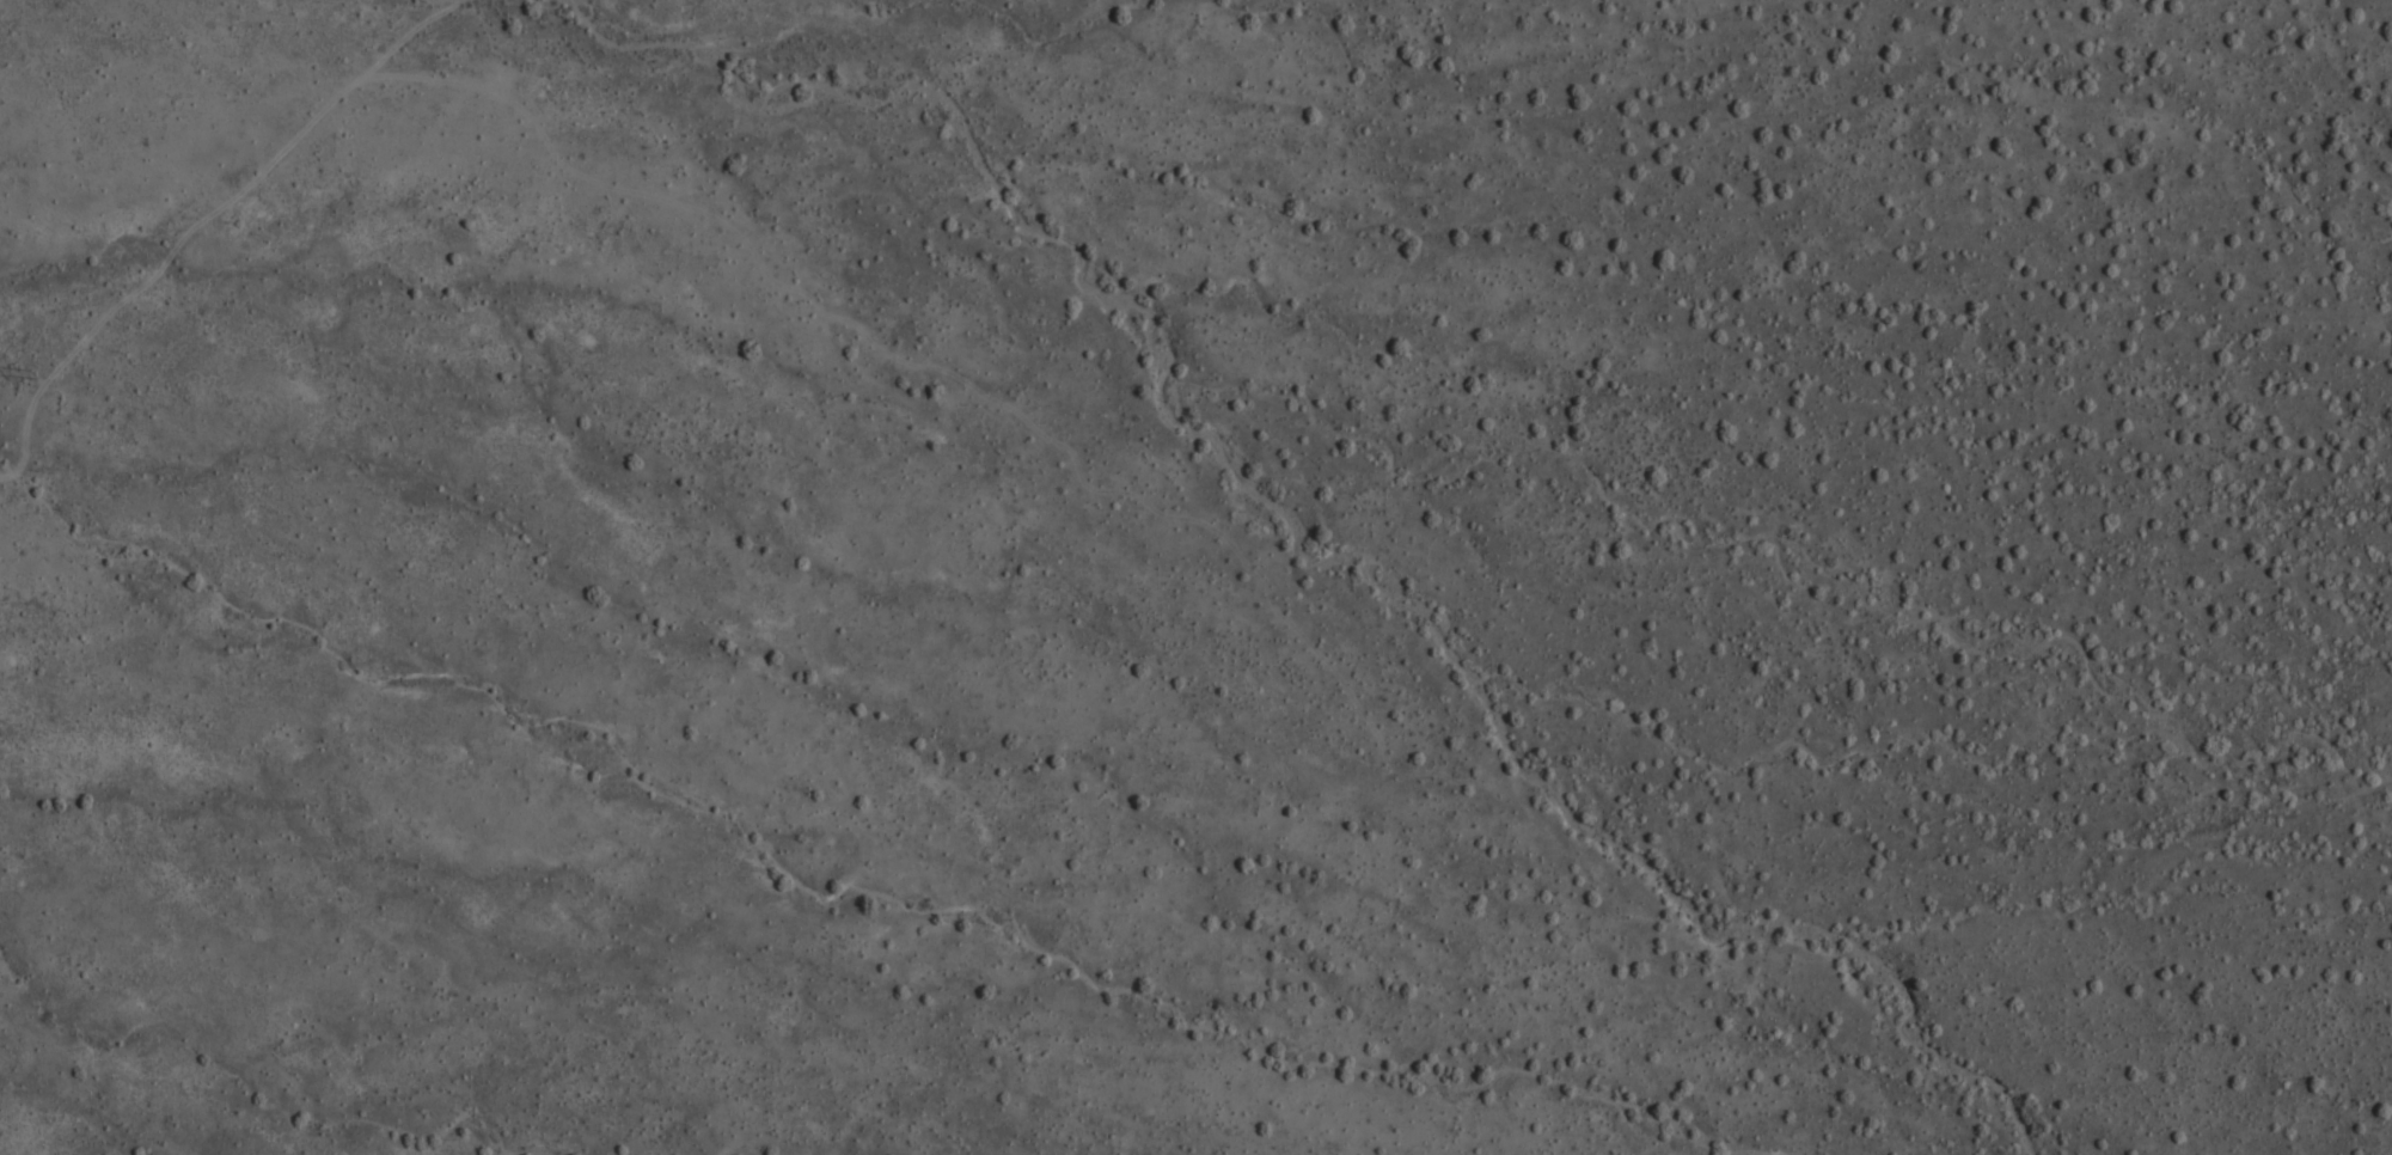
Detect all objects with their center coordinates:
power tower: (31, 374)

